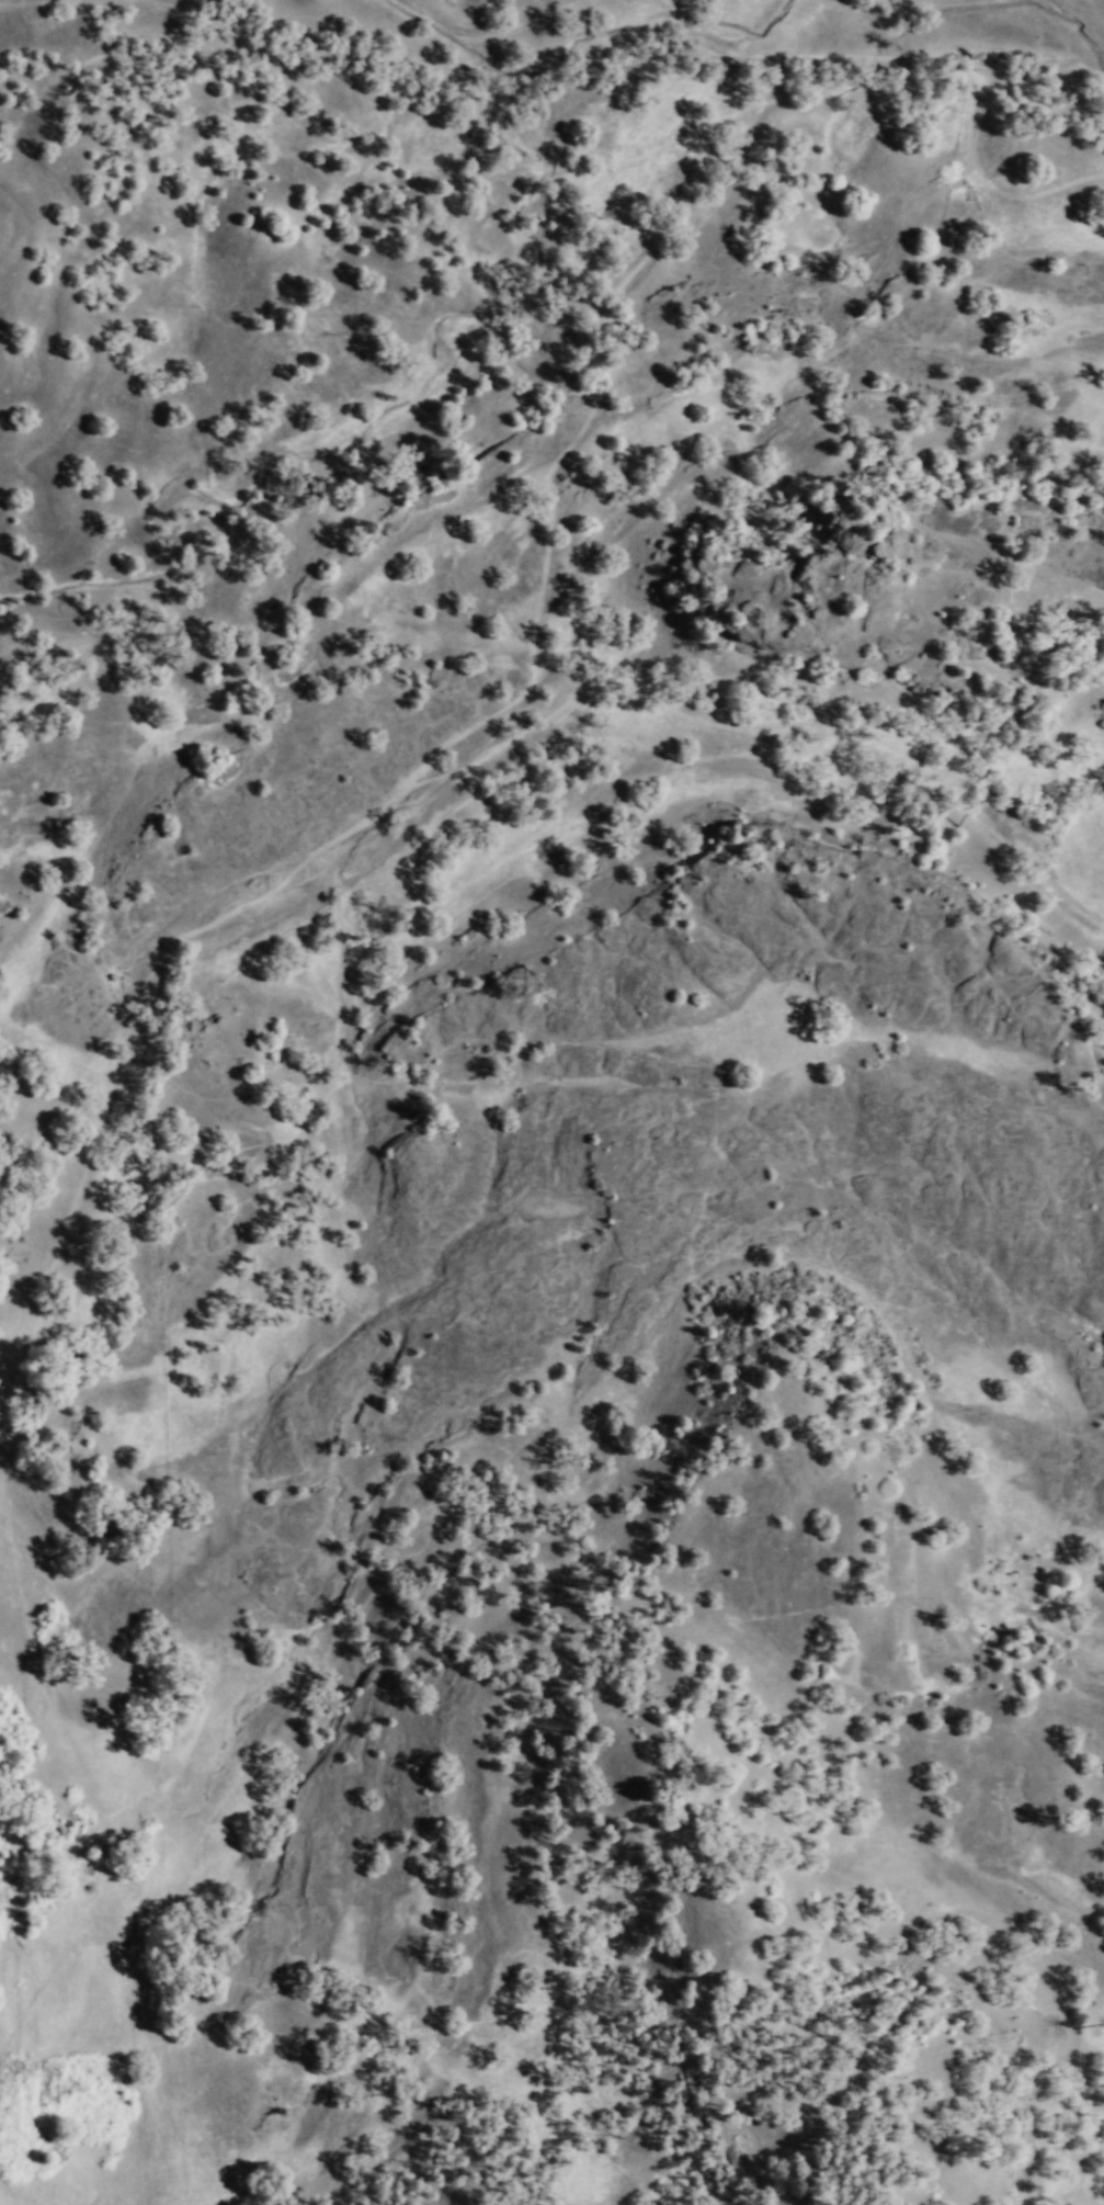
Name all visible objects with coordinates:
road: (303, 33)
road: (873, 55)
road: (982, 174)

